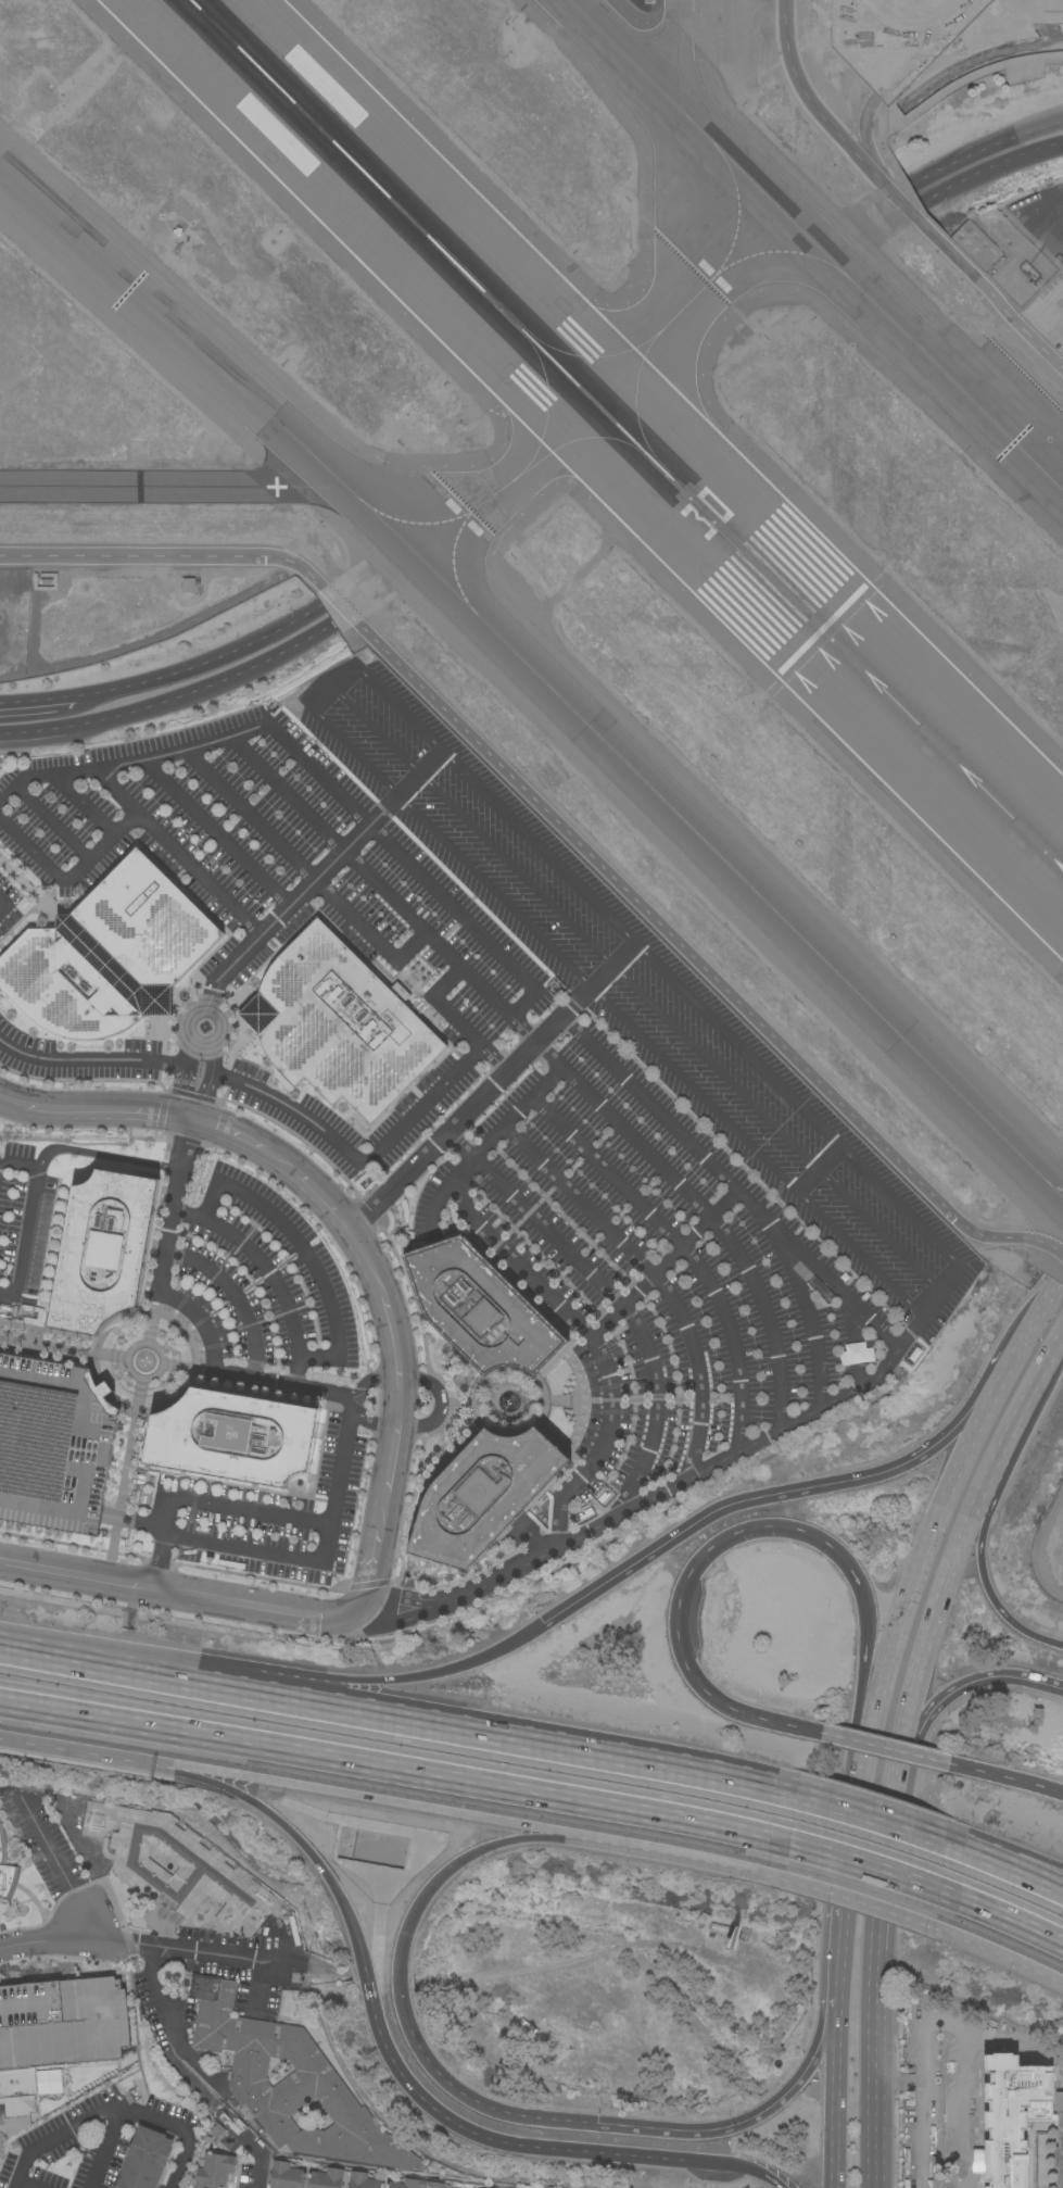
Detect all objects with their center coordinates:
airport taxiway: (676, 53)
road: (982, 149)
road: (990, 166)
road: (891, 192)
airport taxiway: (817, 248)
airport taxiway: (692, 312)
airport runway: (624, 435)
airport: (596, 475)
airport taxiway: (508, 482)
airport taxiway: (170, 490)
building: (188, 586)
road: (199, 663)
airport taxiway: (541, 679)
road: (312, 696)
road: (37, 700)
road: (170, 701)
road: (128, 764)
road: (417, 776)
road: (481, 794)
road: (84, 804)
road: (52, 825)
road: (468, 828)
road: (562, 828)
road: (215, 833)
road: (446, 847)
road: (174, 853)
road: (304, 872)
road: (67, 878)
road: (294, 898)
road: (2, 907)
building: (147, 923)
building: (72, 982)
road: (516, 1013)
building: (338, 1024)
fountain: (204, 1028)
fountain: (205, 1028)
road: (522, 1033)
road: (200, 1051)
road: (493, 1061)
road: (180, 1079)
road: (210, 1083)
road: (493, 1087)
road: (93, 1111)
road: (319, 1128)
road: (242, 1142)
road: (461, 1146)
road: (482, 1150)
road: (102, 1156)
road: (767, 1162)
road: (819, 1171)
road: (729, 1183)
road: (324, 1197)
road: (705, 1212)
road: (28, 1219)
building: (103, 1250)
road: (684, 1253)
road: (303, 1255)
road: (663, 1262)
road: (267, 1275)
road: (655, 1277)
road: (946, 1283)
road: (235, 1299)
building: (479, 1308)
road: (808, 1310)
road: (193, 1316)
road: (630, 1319)
road: (1037, 1319)
road: (857, 1344)
road: (599, 1353)
fountain: (144, 1361)
road: (398, 1367)
road: (376, 1383)
road: (999, 1389)
road: (1030, 1398)
fountain: (508, 1403)
road: (439, 1404)
road: (374, 1424)
helipad: (227, 1434)
road: (958, 1434)
building: (233, 1437)
building: (53, 1444)
parking lot: (53, 1444)
helipad: (476, 1491)
helipad: (483, 1492)
building: (483, 1495)
road: (646, 1502)
road: (988, 1502)
road: (204, 1505)
road: (726, 1505)
airport: (1050, 1547)
road: (1, 1561)
road: (318, 1562)
road: (922, 1564)
road: (371, 1572)
road: (78, 1576)
road: (859, 1590)
road: (942, 1597)
road: (248, 1607)
road: (676, 1610)
road: (1001, 1611)
traffic signals: (541, 1623)
road: (465, 1664)
road: (126, 1674)
road: (870, 1674)
road: (999, 1676)
road: (341, 1693)
road: (277, 1701)
road: (920, 1720)
road: (536, 1747)
road: (83, 1748)
road: (882, 1748)
road: (384, 1763)
road: (1008, 1778)
road: (207, 1781)
road: (358, 1796)
road: (858, 1809)
road: (868, 1819)
road: (534, 1834)
parking lot: (41, 1837)
road: (887, 1846)
road: (666, 1849)
road: (53, 1860)
road: (859, 1861)
road: (985, 1861)
building: (7, 1871)
building: (175, 1871)
road: (324, 1872)
road: (1036, 1877)
road: (91, 1881)
road: (1036, 1883)
road: (31, 1899)
road: (862, 1899)
road: (416, 1907)
road: (1007, 1915)
building: (719, 1928)
road: (42, 1932)
road: (125, 1934)
road: (180, 1949)
road: (598, 1950)
road: (1003, 1952)
parking lot: (248, 1961)
road: (312, 1971)
road: (838, 1978)
road: (938, 2021)
road: (166, 2022)
building: (54, 2036)
building: (319, 2037)
road: (821, 2054)
road: (873, 2068)
building: (288, 2082)
road: (485, 2105)
road: (961, 2109)
road: (116, 2113)
road: (833, 2116)
building: (1005, 2121)
traffic signals: (596, 2123)
road: (713, 2129)
road: (489, 2134)
road: (921, 2135)
parking lot: (68, 2149)
road: (106, 2149)
building: (1059, 2150)
building: (1, 2154)
parking lot: (181, 2156)
building: (145, 2160)
road: (748, 2165)
building: (214, 2171)
parking lot: (246, 2174)
road: (258, 2174)
building: (286, 2176)
building: (341, 2179)
building: (415, 2184)
road: (23, 2186)

